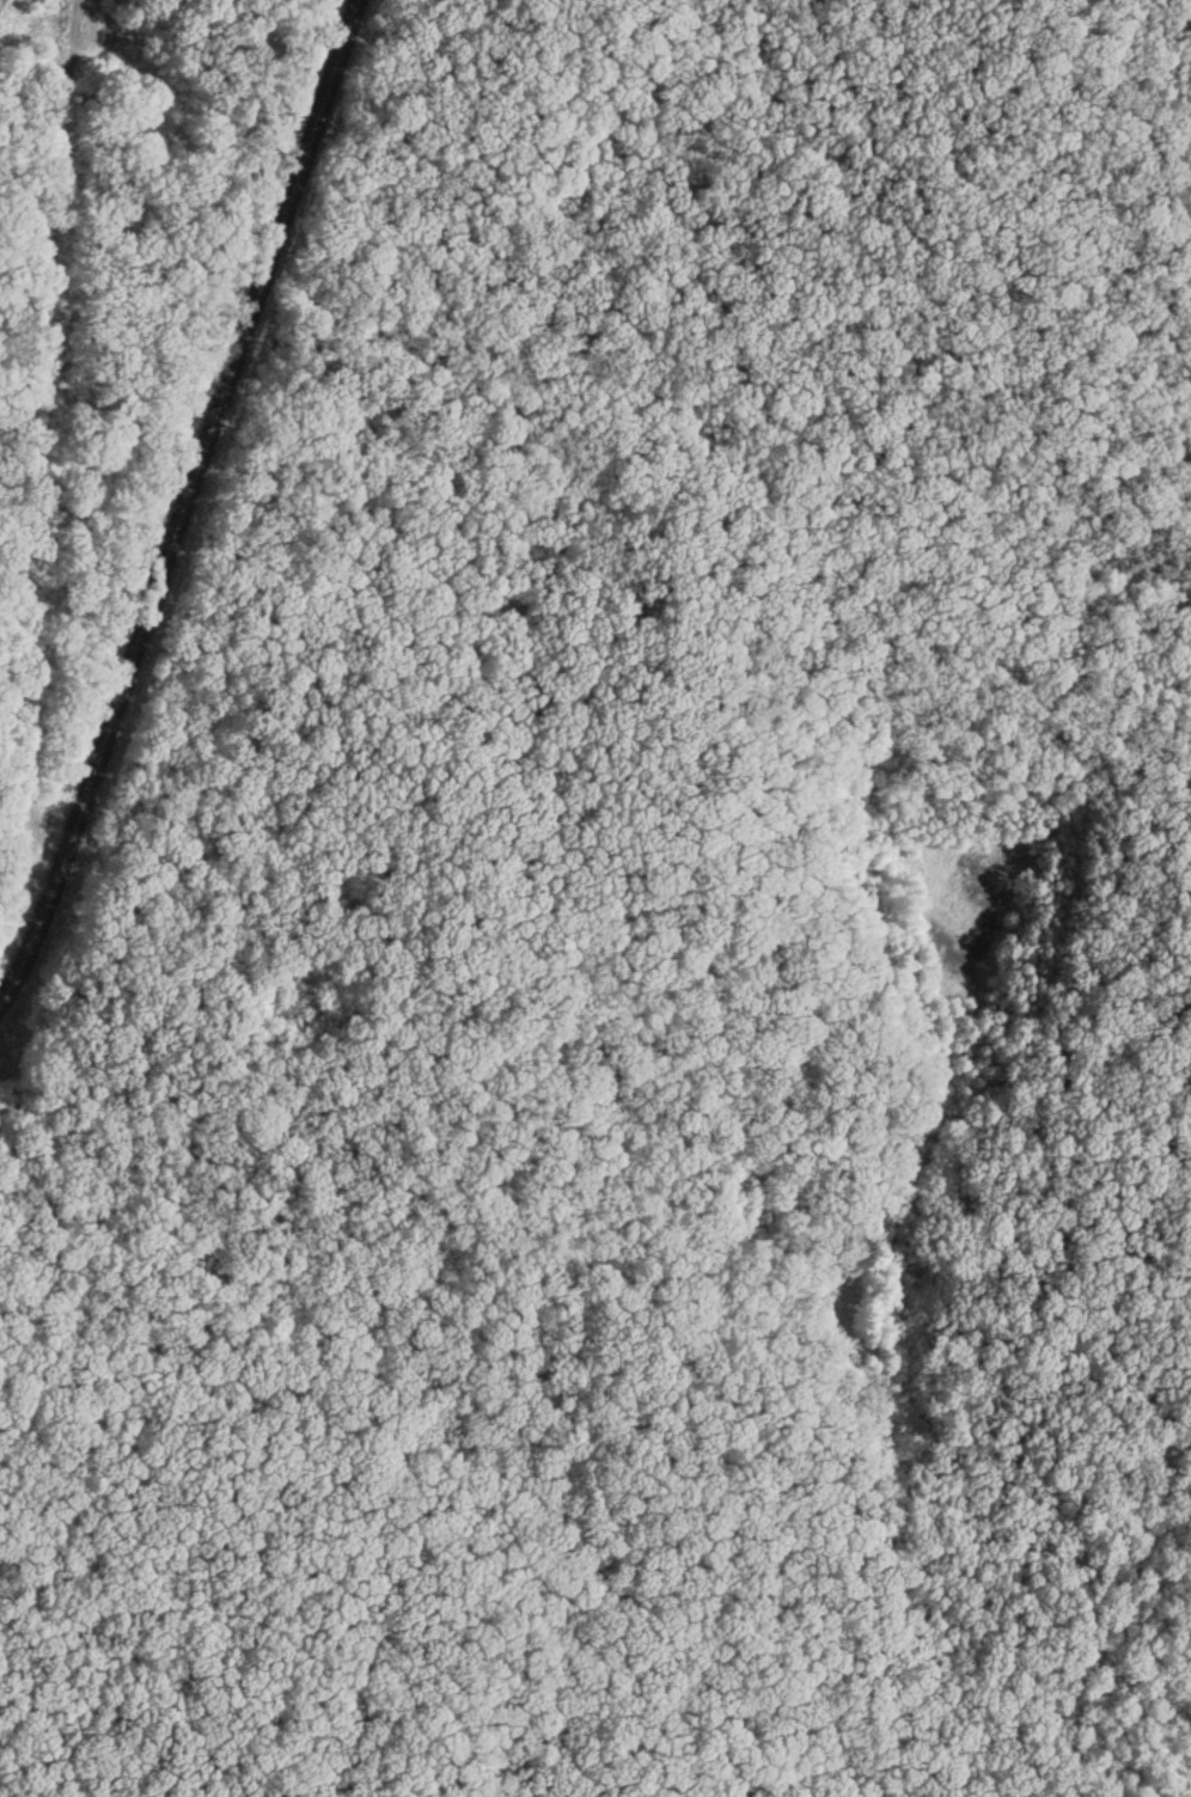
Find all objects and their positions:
road: (183, 505)
road: (872, 770)
road: (283, 1315)
road: (667, 1648)

